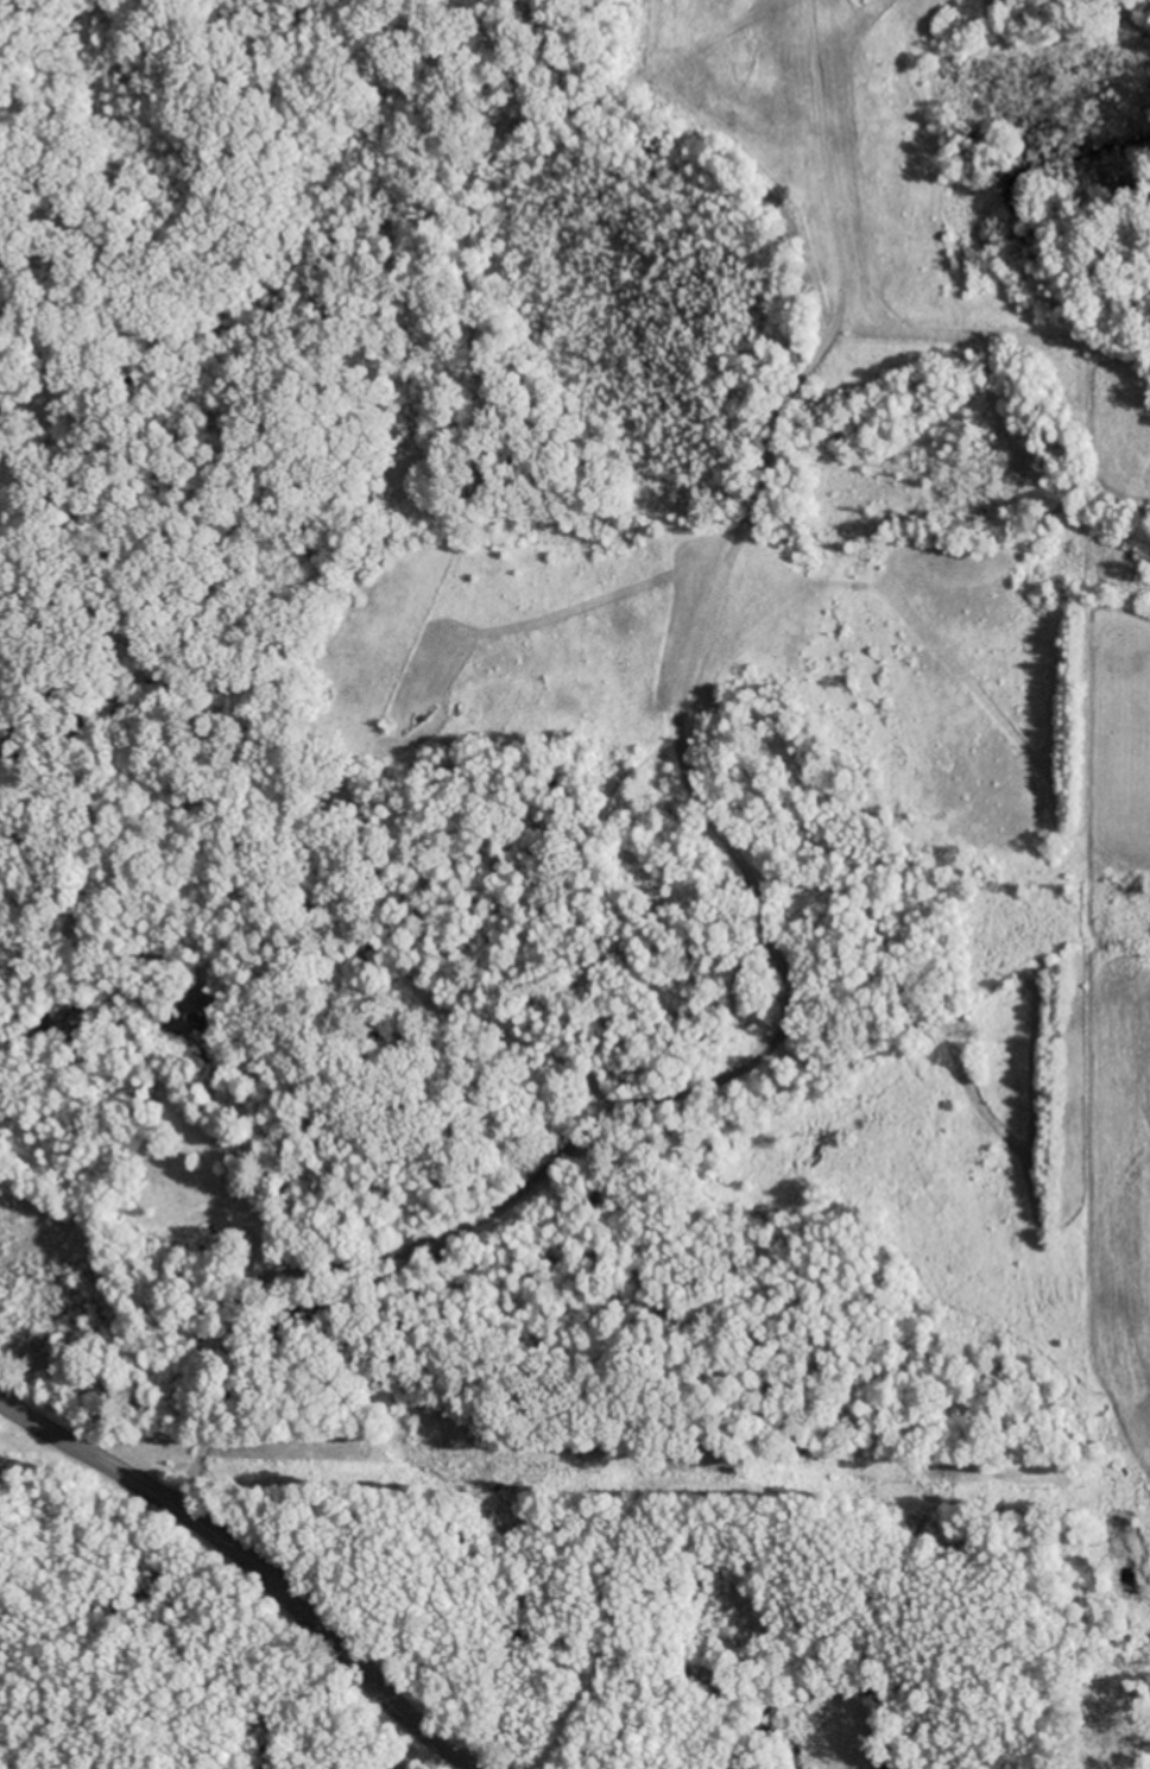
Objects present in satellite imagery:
road: (328, 757)
road: (248, 1568)

